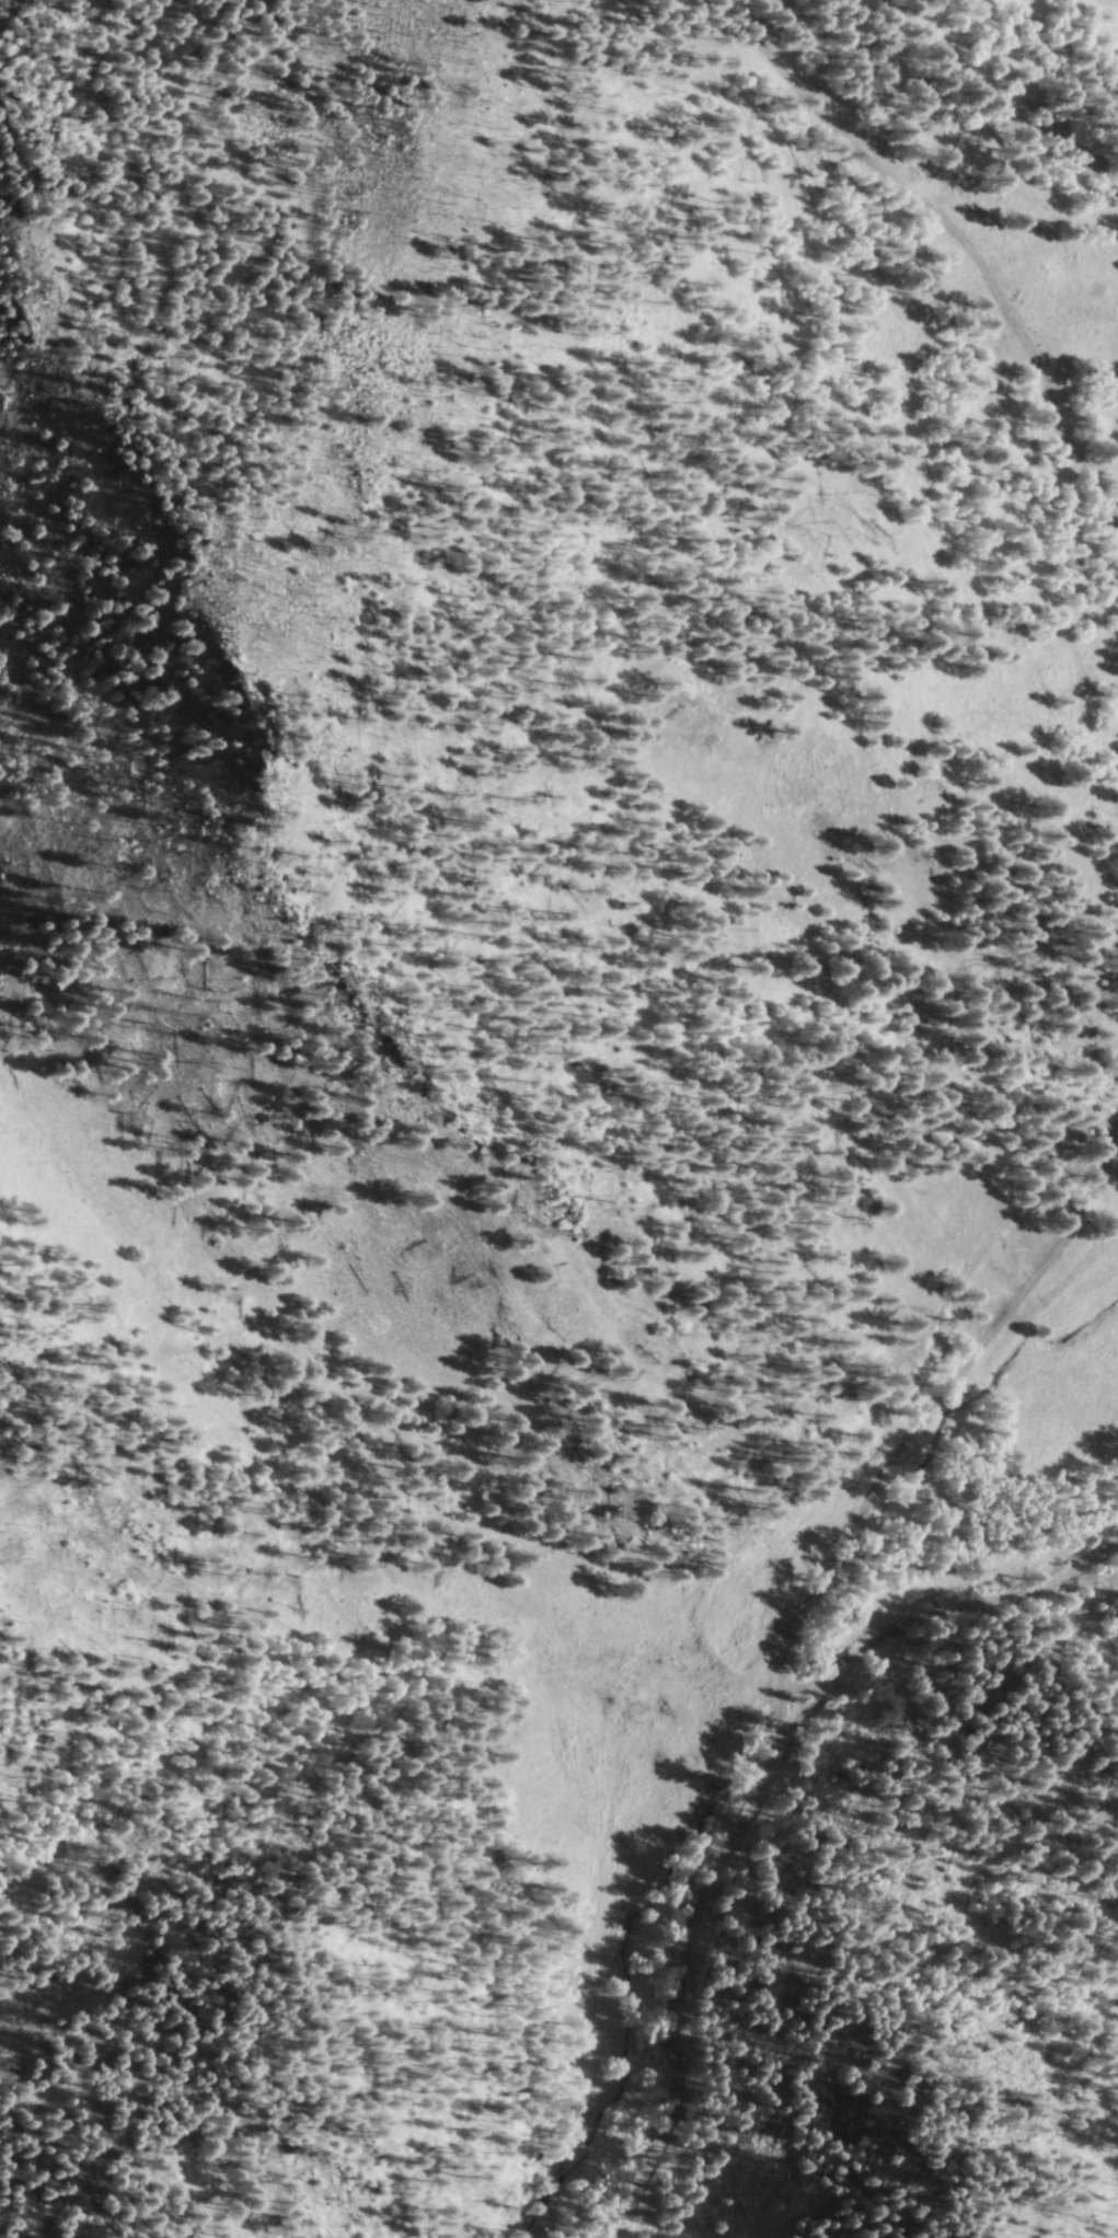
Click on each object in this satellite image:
road: (894, 145)
road: (864, 168)
road: (1063, 428)
road: (751, 1531)
road: (929, 1620)
road: (786, 1645)

